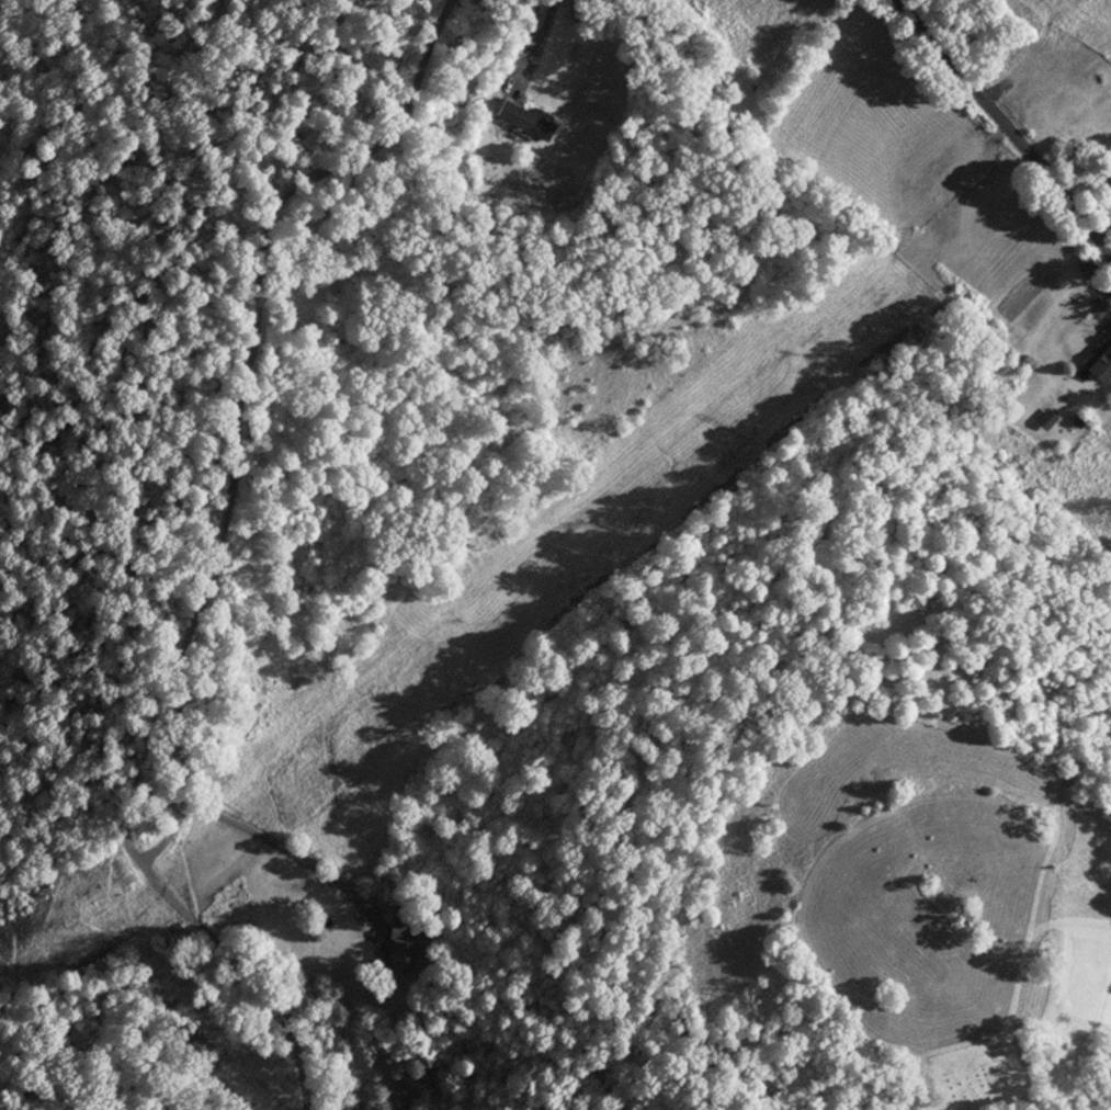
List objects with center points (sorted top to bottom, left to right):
building: (525, 118)
road: (1009, 129)
building: (1108, 174)
building: (1087, 264)
building: (1028, 363)
building: (1098, 363)
building: (1047, 421)
building: (1078, 423)
building: (403, 945)

